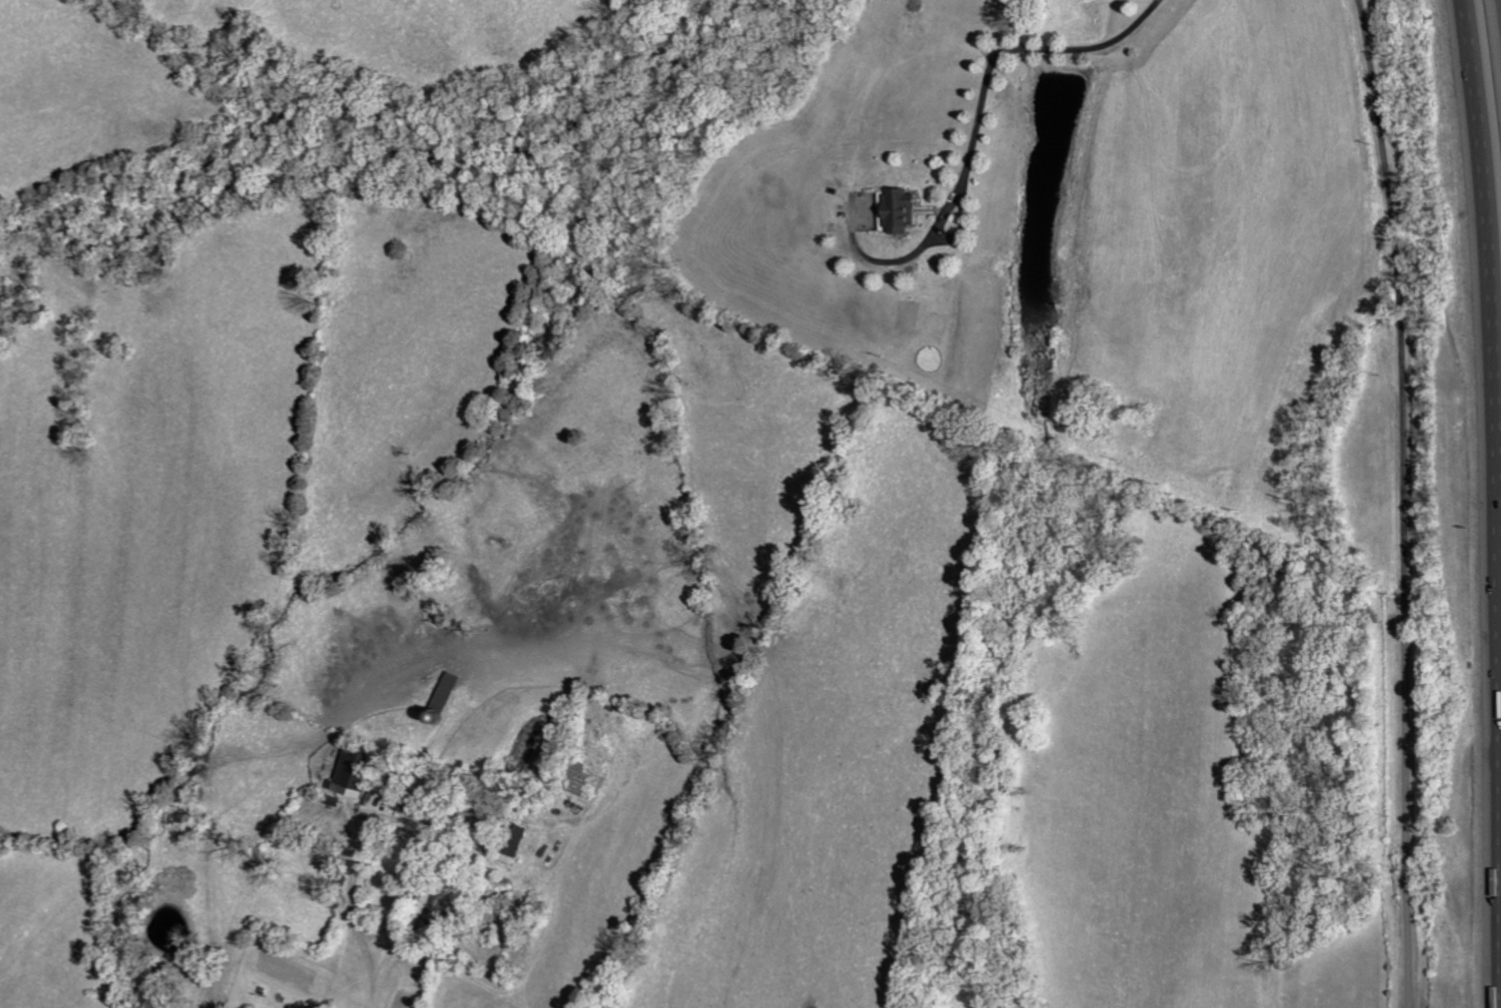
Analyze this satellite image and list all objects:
road: (1473, 30)
building: (902, 210)
road: (1403, 502)
road: (1497, 533)
building: (450, 690)
road: (522, 983)

